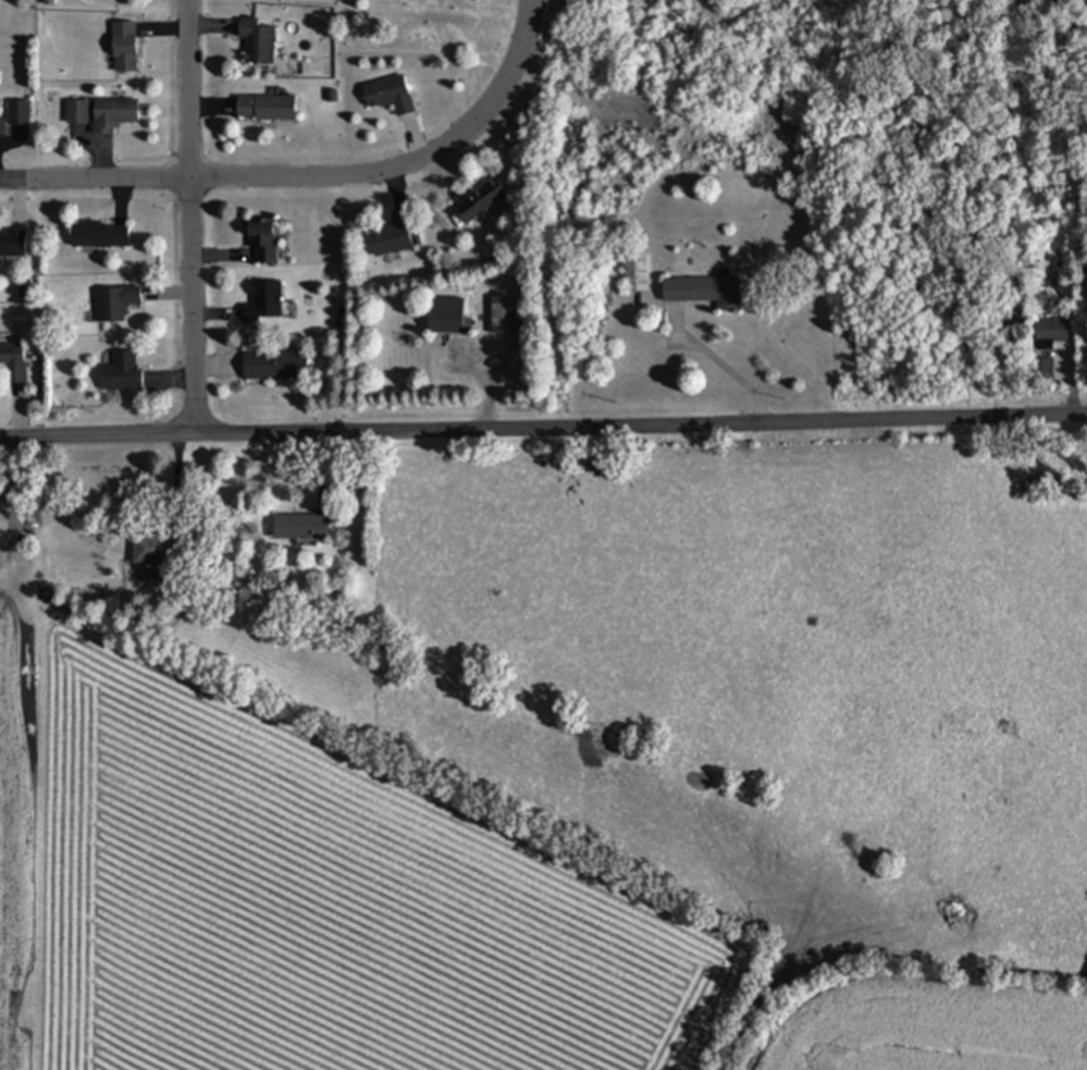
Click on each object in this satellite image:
building: (259, 42)
building: (125, 48)
building: (391, 95)
building: (267, 108)
building: (114, 115)
building: (2, 119)
road: (312, 175)
building: (576, 198)
building: (481, 201)
road: (192, 217)
building: (101, 235)
building: (395, 236)
building: (264, 241)
building: (13, 243)
building: (638, 272)
building: (707, 291)
building: (116, 303)
building: (265, 303)
building: (504, 316)
building: (449, 317)
building: (1052, 332)
building: (14, 361)
road: (716, 364)
building: (276, 367)
building: (1042, 370)
building: (123, 372)
road: (543, 425)
building: (302, 527)
building: (155, 550)

